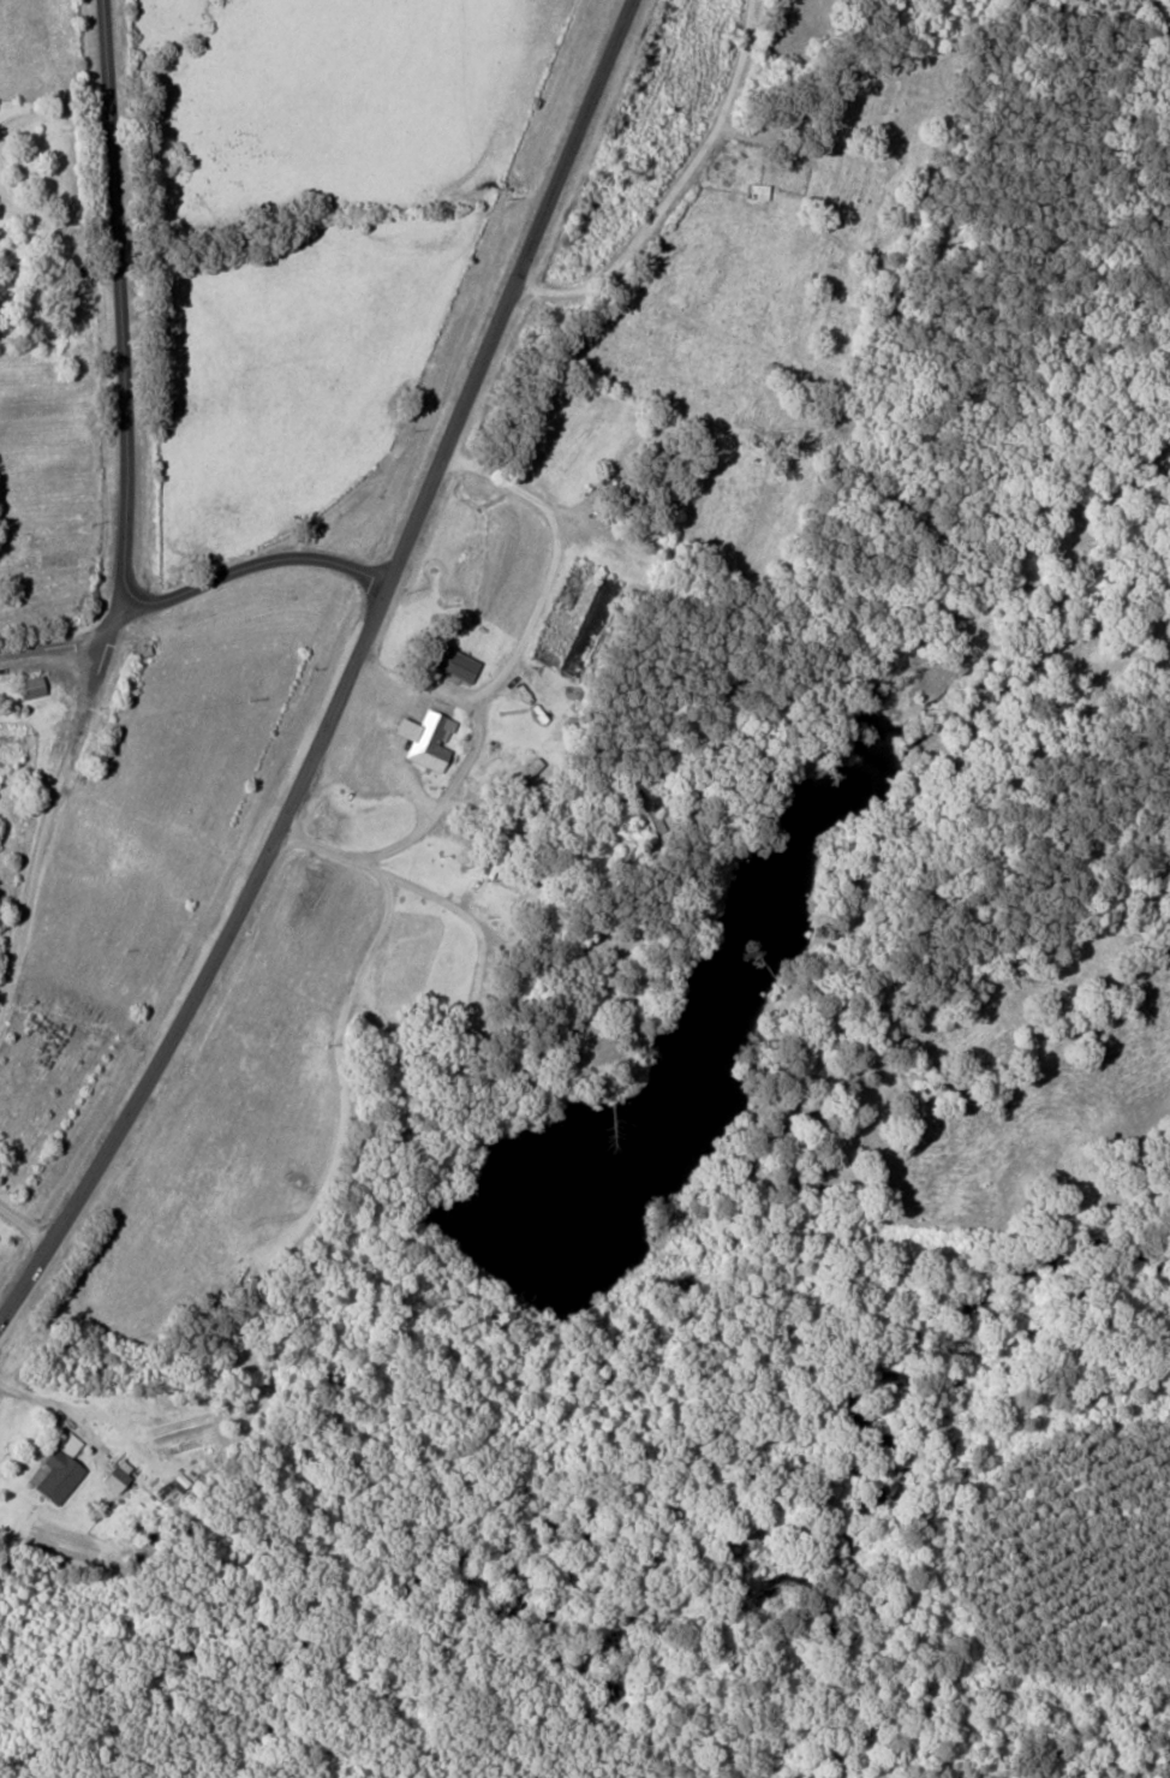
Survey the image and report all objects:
road: (675, 182)
building: (754, 189)
road: (120, 302)
road: (255, 561)
road: (53, 642)
building: (453, 661)
building: (29, 685)
road: (356, 685)
building: (423, 736)
building: (398, 742)
road: (53, 799)
road: (29, 1223)
building: (56, 1469)
building: (115, 1474)

